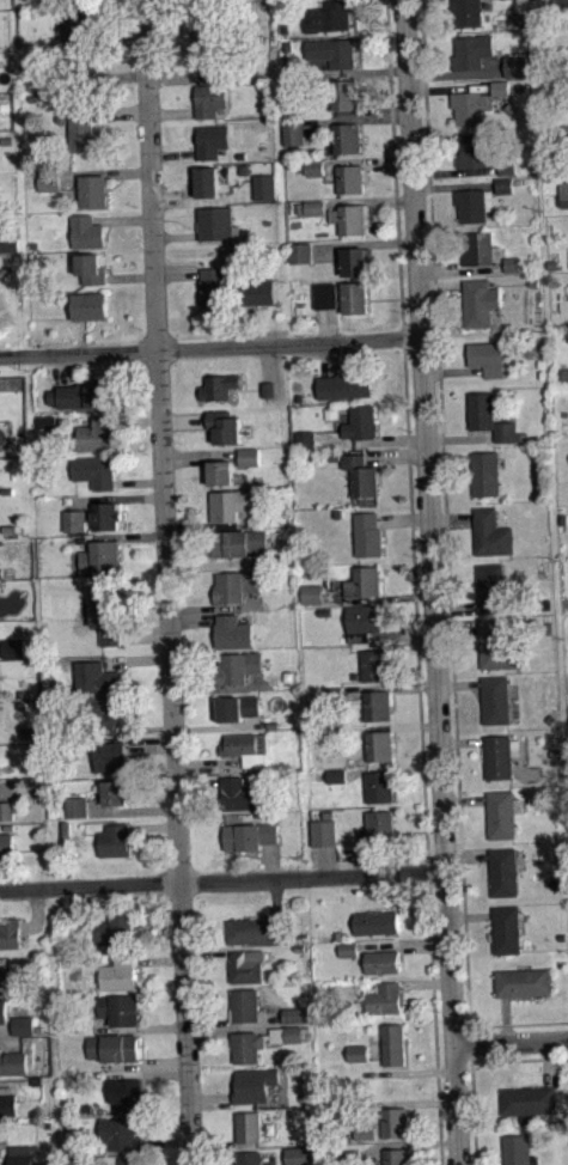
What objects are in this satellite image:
road: (356, 1)
building: (512, 2)
building: (560, 5)
building: (466, 13)
building: (328, 17)
building: (79, 23)
building: (285, 29)
road: (115, 38)
building: (207, 48)
building: (334, 51)
building: (471, 53)
building: (81, 65)
building: (517, 66)
road: (375, 71)
road: (175, 75)
road: (457, 75)
road: (116, 77)
building: (500, 89)
road: (450, 90)
building: (344, 94)
building: (210, 99)
building: (471, 106)
road: (126, 110)
road: (383, 111)
road: (172, 112)
road: (354, 120)
building: (85, 123)
building: (293, 132)
building: (566, 133)
building: (347, 135)
building: (213, 139)
building: (472, 150)
road: (173, 153)
road: (367, 161)
building: (314, 166)
building: (507, 166)
building: (244, 169)
road: (456, 171)
road: (105, 172)
building: (316, 175)
building: (350, 178)
building: (209, 179)
building: (49, 181)
building: (265, 184)
building: (503, 184)
road: (453, 187)
building: (96, 189)
building: (563, 197)
road: (203, 199)
road: (368, 201)
building: (474, 203)
building: (316, 206)
building: (316, 215)
road: (124, 218)
building: (350, 218)
building: (216, 222)
building: (88, 231)
road: (176, 234)
building: (8, 242)
road: (362, 244)
building: (480, 248)
building: (301, 251)
building: (358, 260)
building: (512, 263)
road: (459, 267)
building: (93, 268)
road: (178, 274)
road: (132, 276)
building: (212, 285)
building: (259, 288)
road: (440, 288)
building: (325, 294)
building: (356, 295)
building: (480, 300)
building: (92, 305)
road: (251, 323)
road: (328, 324)
road: (81, 336)
road: (209, 347)
building: (487, 356)
road: (326, 359)
road: (268, 364)
road: (66, 368)
road: (452, 371)
building: (344, 383)
building: (220, 386)
building: (269, 389)
building: (83, 394)
building: (270, 397)
building: (481, 410)
road: (184, 420)
building: (47, 421)
road: (136, 421)
building: (360, 421)
building: (225, 425)
building: (506, 431)
building: (97, 433)
road: (459, 438)
building: (306, 439)
road: (390, 440)
building: (306, 447)
road: (201, 456)
building: (250, 456)
building: (334, 456)
road: (393, 456)
road: (447, 458)
building: (250, 464)
building: (221, 470)
building: (96, 471)
building: (484, 472)
building: (360, 474)
road: (139, 482)
road: (114, 498)
building: (230, 502)
building: (105, 516)
road: (402, 518)
road: (450, 519)
building: (74, 520)
road: (446, 521)
road: (199, 525)
building: (491, 532)
building: (368, 533)
road: (130, 535)
building: (238, 542)
road: (411, 550)
building: (99, 555)
road: (215, 563)
building: (362, 581)
road: (166, 582)
road: (429, 582)
building: (237, 584)
building: (490, 586)
building: (312, 593)
road: (375, 598)
road: (454, 606)
road: (218, 608)
building: (324, 610)
road: (194, 618)
building: (108, 620)
building: (362, 620)
road: (456, 629)
building: (234, 630)
road: (145, 634)
road: (399, 634)
road: (410, 646)
building: (496, 646)
building: (13, 649)
road: (1, 653)
road: (138, 659)
building: (374, 663)
building: (238, 665)
building: (98, 677)
road: (256, 678)
road: (459, 684)
road: (389, 687)
road: (218, 688)
building: (332, 693)
building: (496, 699)
building: (378, 705)
building: (237, 706)
building: (109, 712)
road: (413, 726)
road: (218, 727)
road: (145, 728)
building: (29, 732)
road: (11, 734)
road: (462, 740)
building: (379, 744)
road: (149, 748)
building: (248, 748)
building: (111, 755)
building: (500, 756)
road: (208, 763)
road: (391, 767)
building: (336, 774)
road: (199, 782)
building: (379, 786)
building: (115, 789)
building: (242, 794)
road: (463, 799)
building: (77, 805)
road: (132, 810)
building: (6, 811)
building: (503, 812)
building: (8, 827)
road: (152, 827)
building: (378, 828)
building: (324, 830)
building: (249, 835)
building: (115, 838)
building: (6, 844)
road: (466, 858)
road: (324, 859)
road: (270, 860)
building: (505, 871)
road: (221, 879)
road: (393, 890)
road: (275, 898)
road: (36, 914)
road: (470, 915)
road: (157, 920)
building: (375, 922)
building: (115, 928)
building: (507, 928)
building: (254, 931)
building: (10, 932)
road: (402, 945)
building: (348, 949)
road: (204, 951)
building: (349, 957)
road: (158, 959)
building: (383, 960)
building: (244, 968)
building: (118, 972)
building: (5, 980)
building: (524, 982)
road: (425, 984)
building: (386, 998)
building: (244, 1005)
building: (118, 1008)
building: (2, 1011)
building: (295, 1014)
road: (505, 1019)
building: (297, 1023)
building: (23, 1024)
road: (234, 1024)
road: (519, 1024)
road: (6, 1027)
road: (148, 1029)
road: (206, 1031)
building: (24, 1033)
building: (293, 1033)
road: (7, 1041)
building: (287, 1042)
road: (511, 1042)
building: (395, 1043)
building: (246, 1045)
building: (114, 1047)
building: (360, 1051)
road: (470, 1053)
road: (519, 1059)
building: (13, 1061)
building: (360, 1061)
road: (548, 1063)
road: (147, 1065)
road: (415, 1071)
road: (161, 1073)
building: (252, 1084)
building: (126, 1091)
road: (209, 1098)
building: (530, 1100)
road: (420, 1102)
building: (7, 1103)
road: (474, 1112)
building: (395, 1121)
building: (248, 1126)
building: (365, 1130)
building: (120, 1132)
road: (440, 1133)
building: (0, 1137)
building: (366, 1140)
road: (165, 1141)
road: (405, 1143)
road: (209, 1145)
building: (519, 1149)
building: (298, 1155)
building: (398, 1155)
building: (250, 1157)
building: (350, 1157)
building: (20, 1159)
building: (130, 1160)

